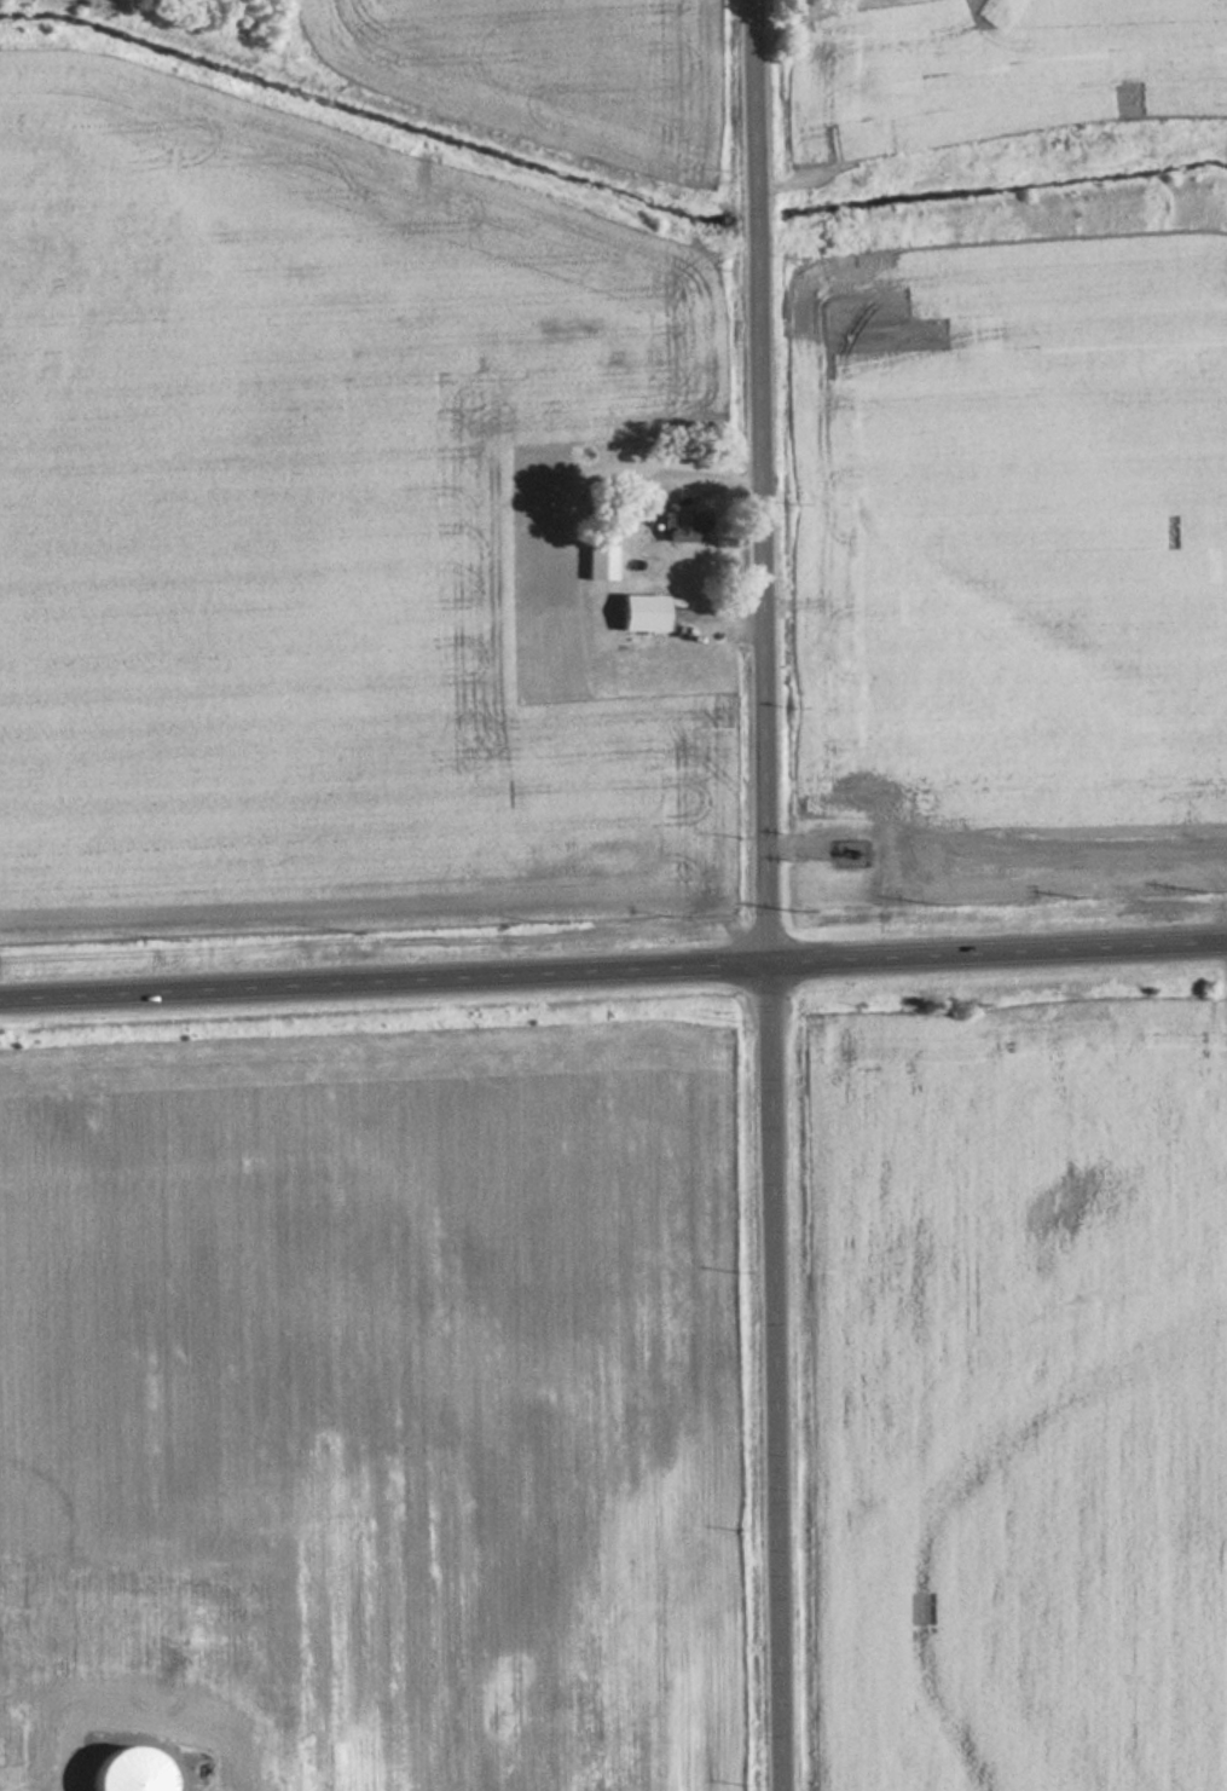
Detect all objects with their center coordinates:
road: (764, 481)
building: (684, 526)
building: (602, 562)
building: (647, 614)
road: (613, 972)
road: (774, 1377)

